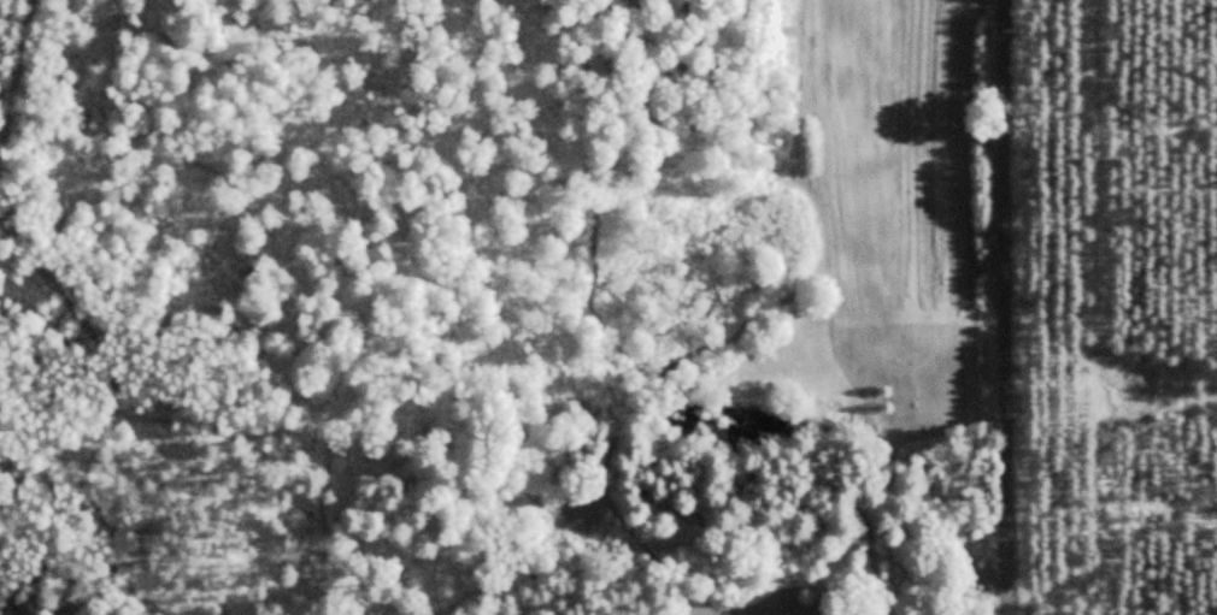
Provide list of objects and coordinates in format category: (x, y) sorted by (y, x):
road: (1007, 307)

